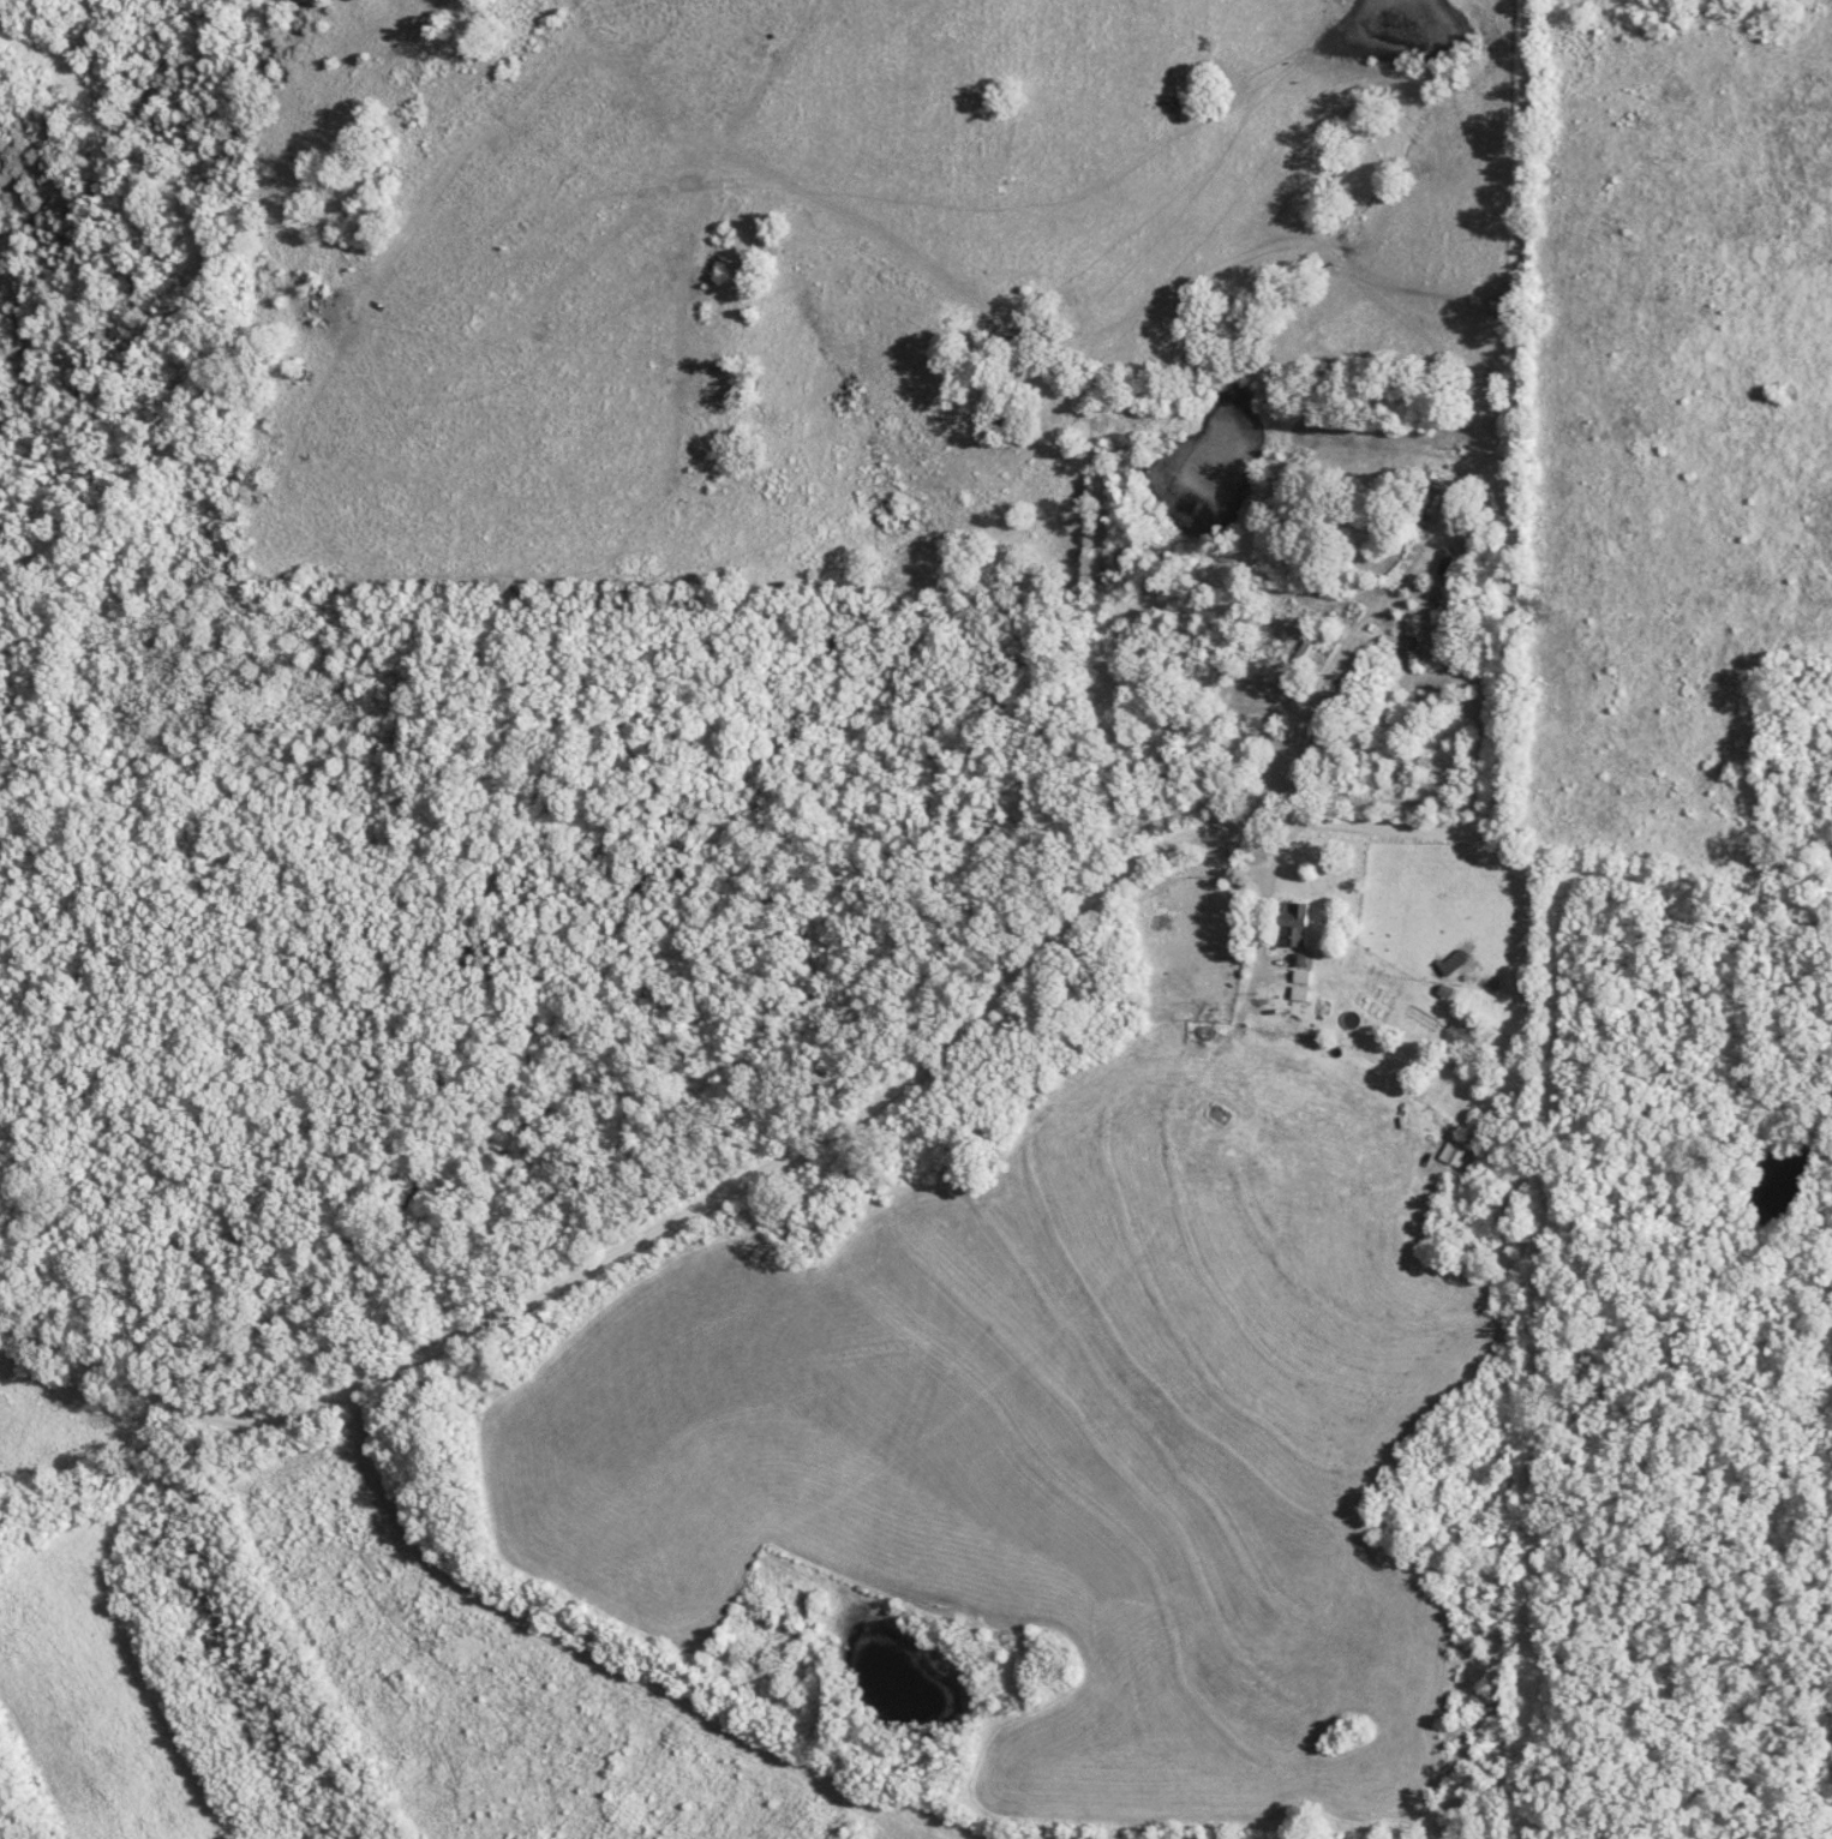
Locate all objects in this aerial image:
road: (1037, 340)
road: (1085, 909)
building: (1294, 921)
building: (1451, 962)
road: (1197, 1114)
building: (1221, 1114)
road: (1007, 1292)

